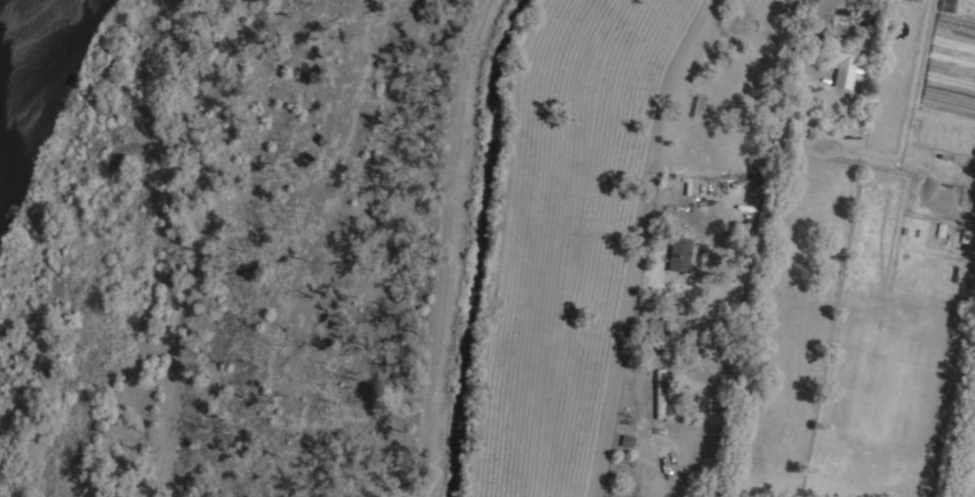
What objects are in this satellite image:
river: (12, 27)
building: (841, 62)
road: (438, 246)
building: (679, 255)
building: (661, 332)
road: (623, 343)
road: (950, 371)
building: (662, 393)
building: (627, 440)
crop: (970, 478)

